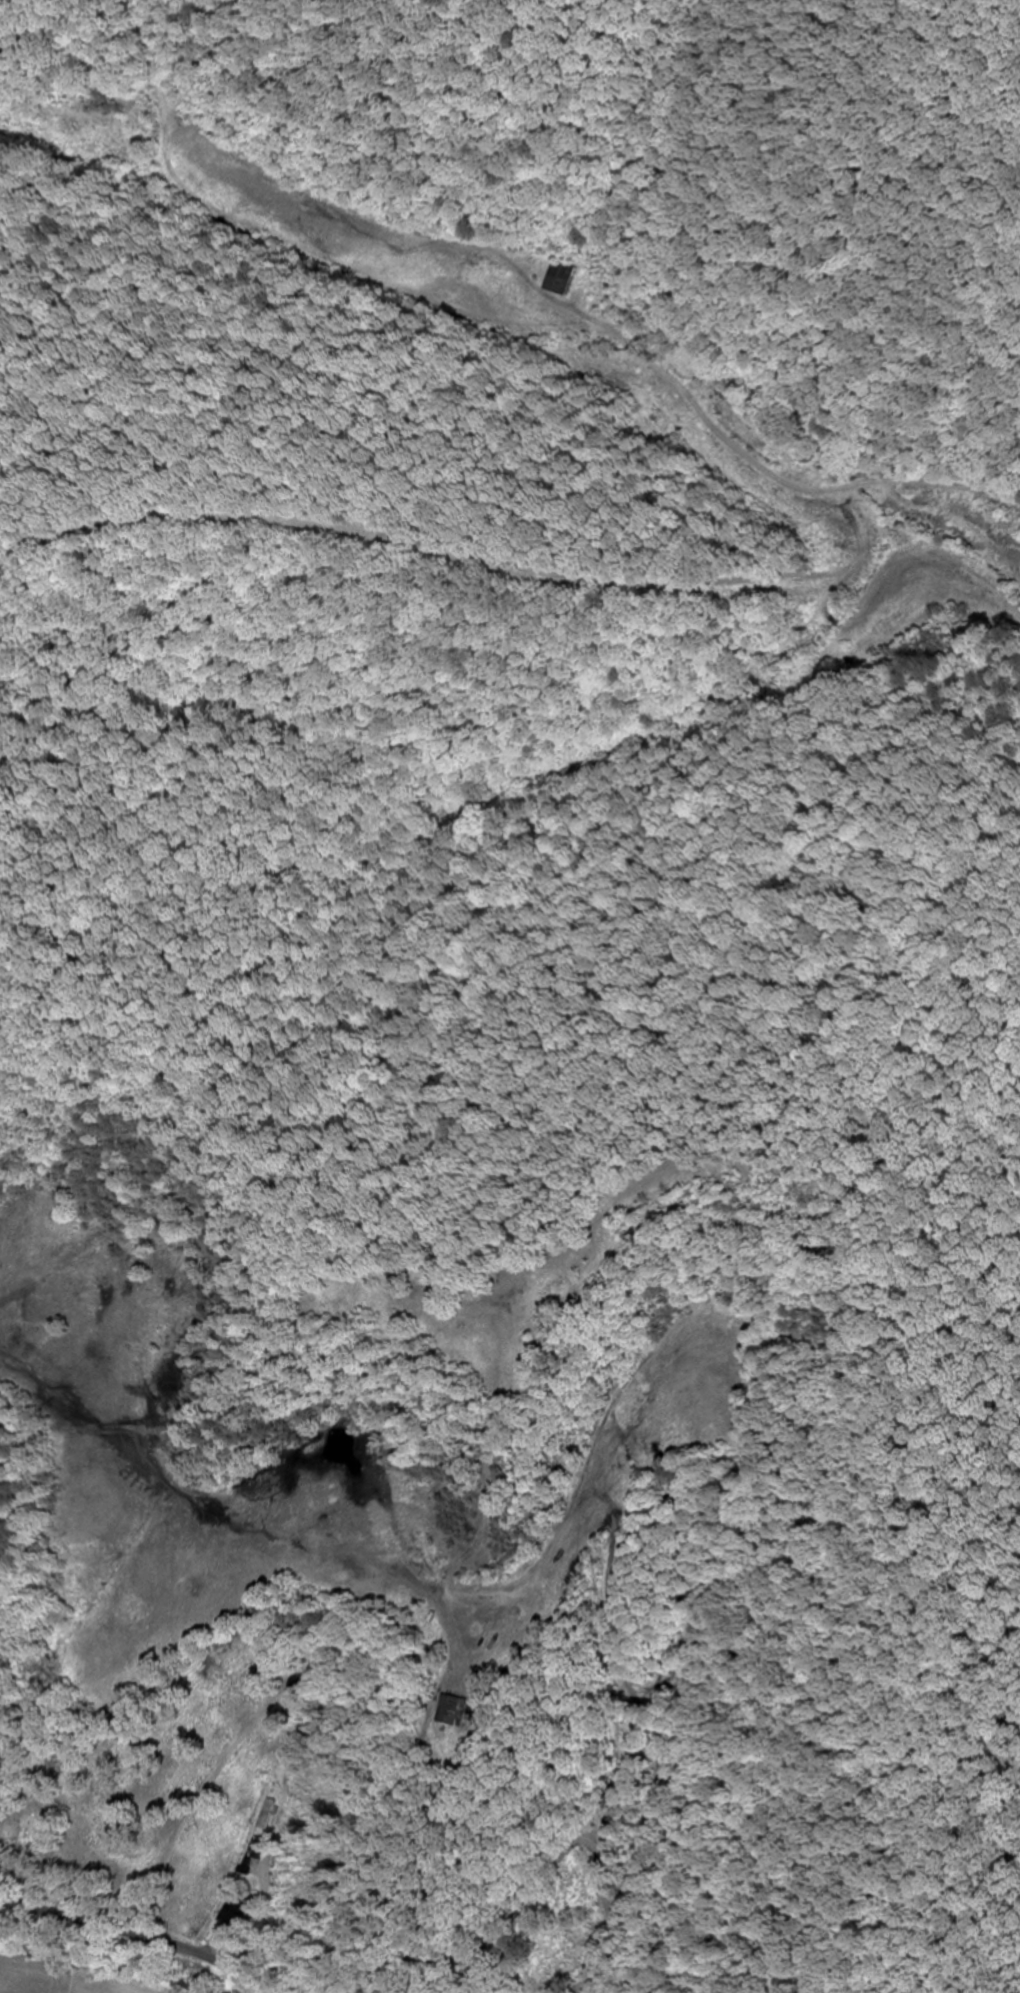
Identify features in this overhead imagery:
building: (560, 280)
building: (456, 1712)
building: (265, 1814)
road: (140, 1934)

